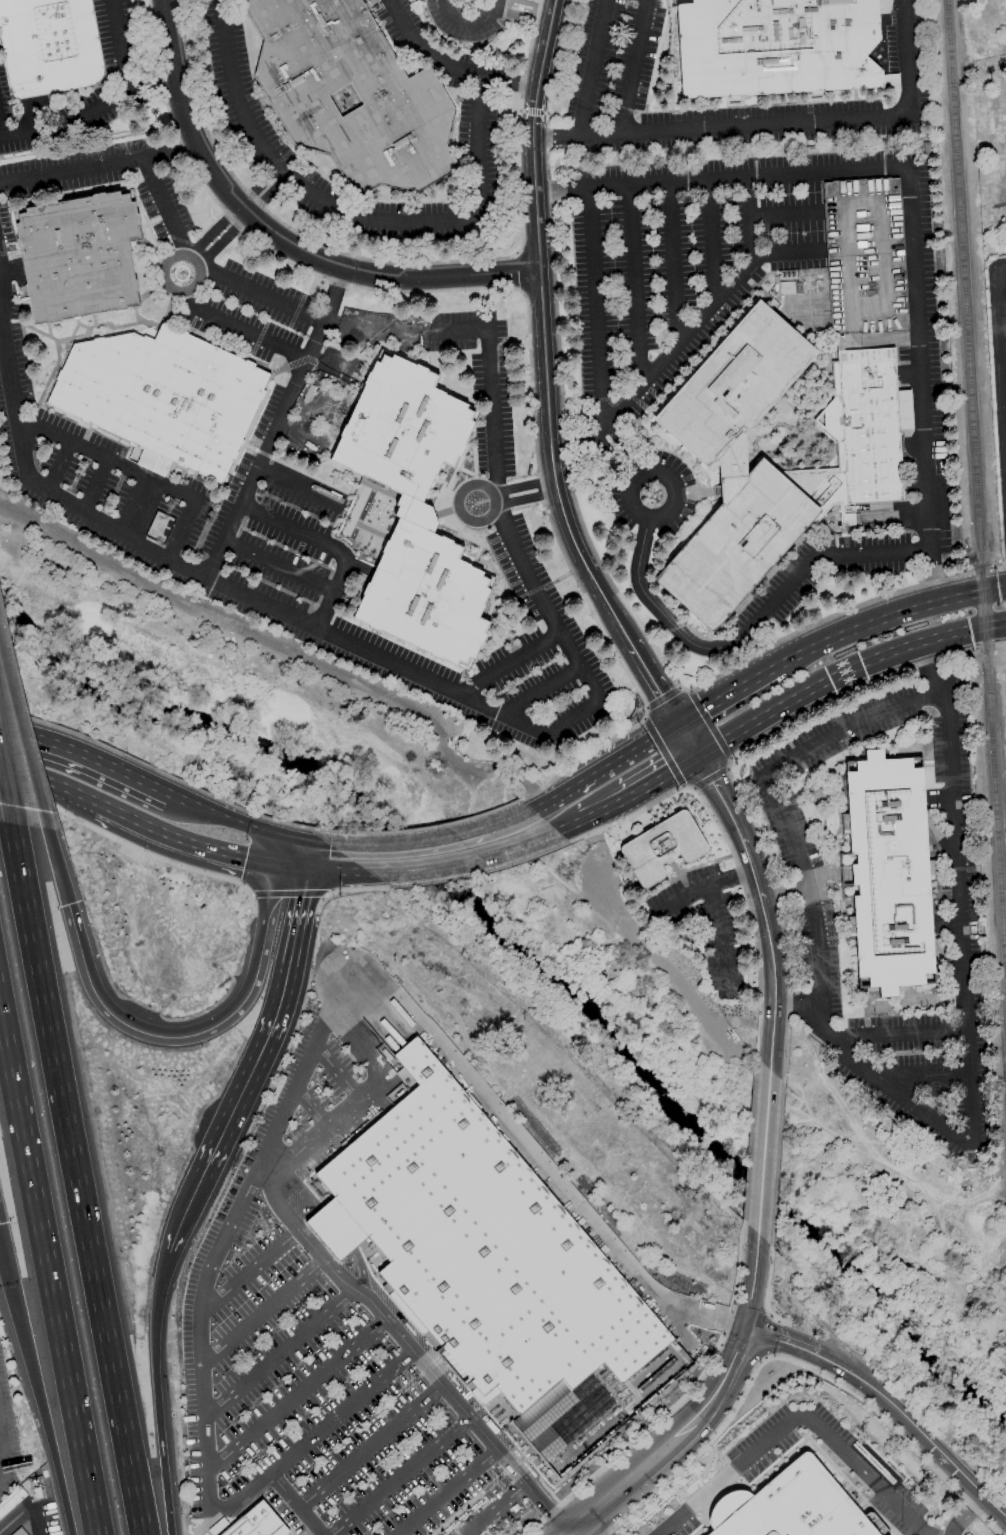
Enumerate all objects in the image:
road: (542, 2)
road: (498, 6)
road: (525, 15)
road: (465, 22)
building: (49, 46)
building: (775, 46)
road: (424, 49)
road: (907, 54)
road: (635, 66)
road: (507, 82)
building: (404, 100)
road: (108, 103)
road: (2, 126)
road: (721, 127)
building: (927, 150)
road: (98, 162)
road: (722, 178)
road: (258, 184)
road: (268, 194)
road: (160, 203)
road: (350, 213)
road: (784, 214)
road: (214, 229)
road: (277, 235)
road: (715, 238)
road: (224, 239)
road: (786, 251)
building: (79, 256)
road: (195, 258)
parking lot: (687, 259)
road: (397, 261)
road: (675, 261)
building: (865, 264)
parking garage: (865, 264)
road: (635, 286)
parking lot: (1005, 290)
road: (597, 300)
road: (527, 319)
road: (340, 323)
road: (543, 330)
road: (690, 330)
road: (263, 336)
road: (1000, 353)
road: (921, 385)
building: (163, 396)
road: (316, 399)
road: (492, 409)
road: (281, 422)
road: (1005, 427)
road: (299, 436)
road: (106, 457)
road: (61, 466)
building: (868, 466)
road: (657, 471)
road: (97, 484)
road: (522, 484)
road: (300, 485)
road: (492, 498)
road: (525, 499)
road: (142, 506)
railway: (976, 507)
building: (415, 511)
road: (580, 514)
road: (183, 527)
road: (330, 546)
road: (282, 567)
road: (1005, 567)
road: (987, 570)
road: (249, 591)
road: (545, 601)
road: (886, 618)
road: (747, 627)
road: (985, 648)
road: (934, 661)
road: (508, 662)
road: (845, 671)
road: (654, 685)
road: (537, 690)
road: (725, 695)
road: (664, 697)
traffic signals: (677, 725)
road: (710, 725)
road: (688, 740)
road: (87, 751)
road: (664, 751)
road: (950, 752)
traffic signals: (699, 756)
road: (24, 766)
road: (605, 768)
road: (162, 771)
road: (664, 776)
road: (710, 778)
road: (49, 786)
road: (5, 791)
road: (736, 793)
road: (605, 809)
road: (226, 814)
road: (715, 818)
road: (510, 822)
road: (569, 826)
road: (737, 826)
road: (423, 827)
road: (298, 841)
road: (186, 844)
road: (411, 844)
traffic signals: (312, 845)
road: (323, 846)
building: (663, 847)
road: (134, 848)
road: (282, 855)
road: (309, 861)
road: (465, 861)
road: (58, 866)
building: (889, 872)
traffic signals: (279, 873)
road: (481, 873)
road: (292, 875)
traffic signals: (306, 877)
road: (338, 877)
road: (346, 890)
road: (288, 893)
road: (251, 894)
road: (324, 894)
road: (684, 897)
traffic signals: (68, 905)
road: (715, 914)
river: (543, 971)
road: (774, 985)
road: (797, 1008)
road: (826, 1026)
road: (897, 1032)
road: (187, 1037)
road: (265, 1041)
road: (915, 1068)
road: (337, 1074)
road: (310, 1108)
road: (768, 1145)
road: (541, 1160)
road: (778, 1164)
road: (72, 1180)
road: (236, 1208)
road: (179, 1223)
building: (481, 1253)
road: (49, 1256)
road: (250, 1272)
road: (758, 1274)
road: (339, 1279)
road: (772, 1289)
road: (262, 1312)
road: (783, 1341)
road: (279, 1353)
parking lot: (310, 1362)
road: (36, 1390)
road: (155, 1393)
road: (296, 1396)
road: (801, 1415)
road: (915, 1429)
road: (317, 1432)
parking lot: (6, 1441)
road: (671, 1444)
road: (369, 1446)
road: (0, 1448)
road: (501, 1473)
road: (399, 1476)
road: (447, 1492)
building: (12, 1501)
road: (295, 1504)
building: (788, 1507)
road: (494, 1509)
road: (966, 1512)
road: (456, 1513)
road: (18, 1520)
road: (37, 1520)
building: (259, 1523)
road: (594, 1525)
building: (217, 1526)
building: (20, 1532)

